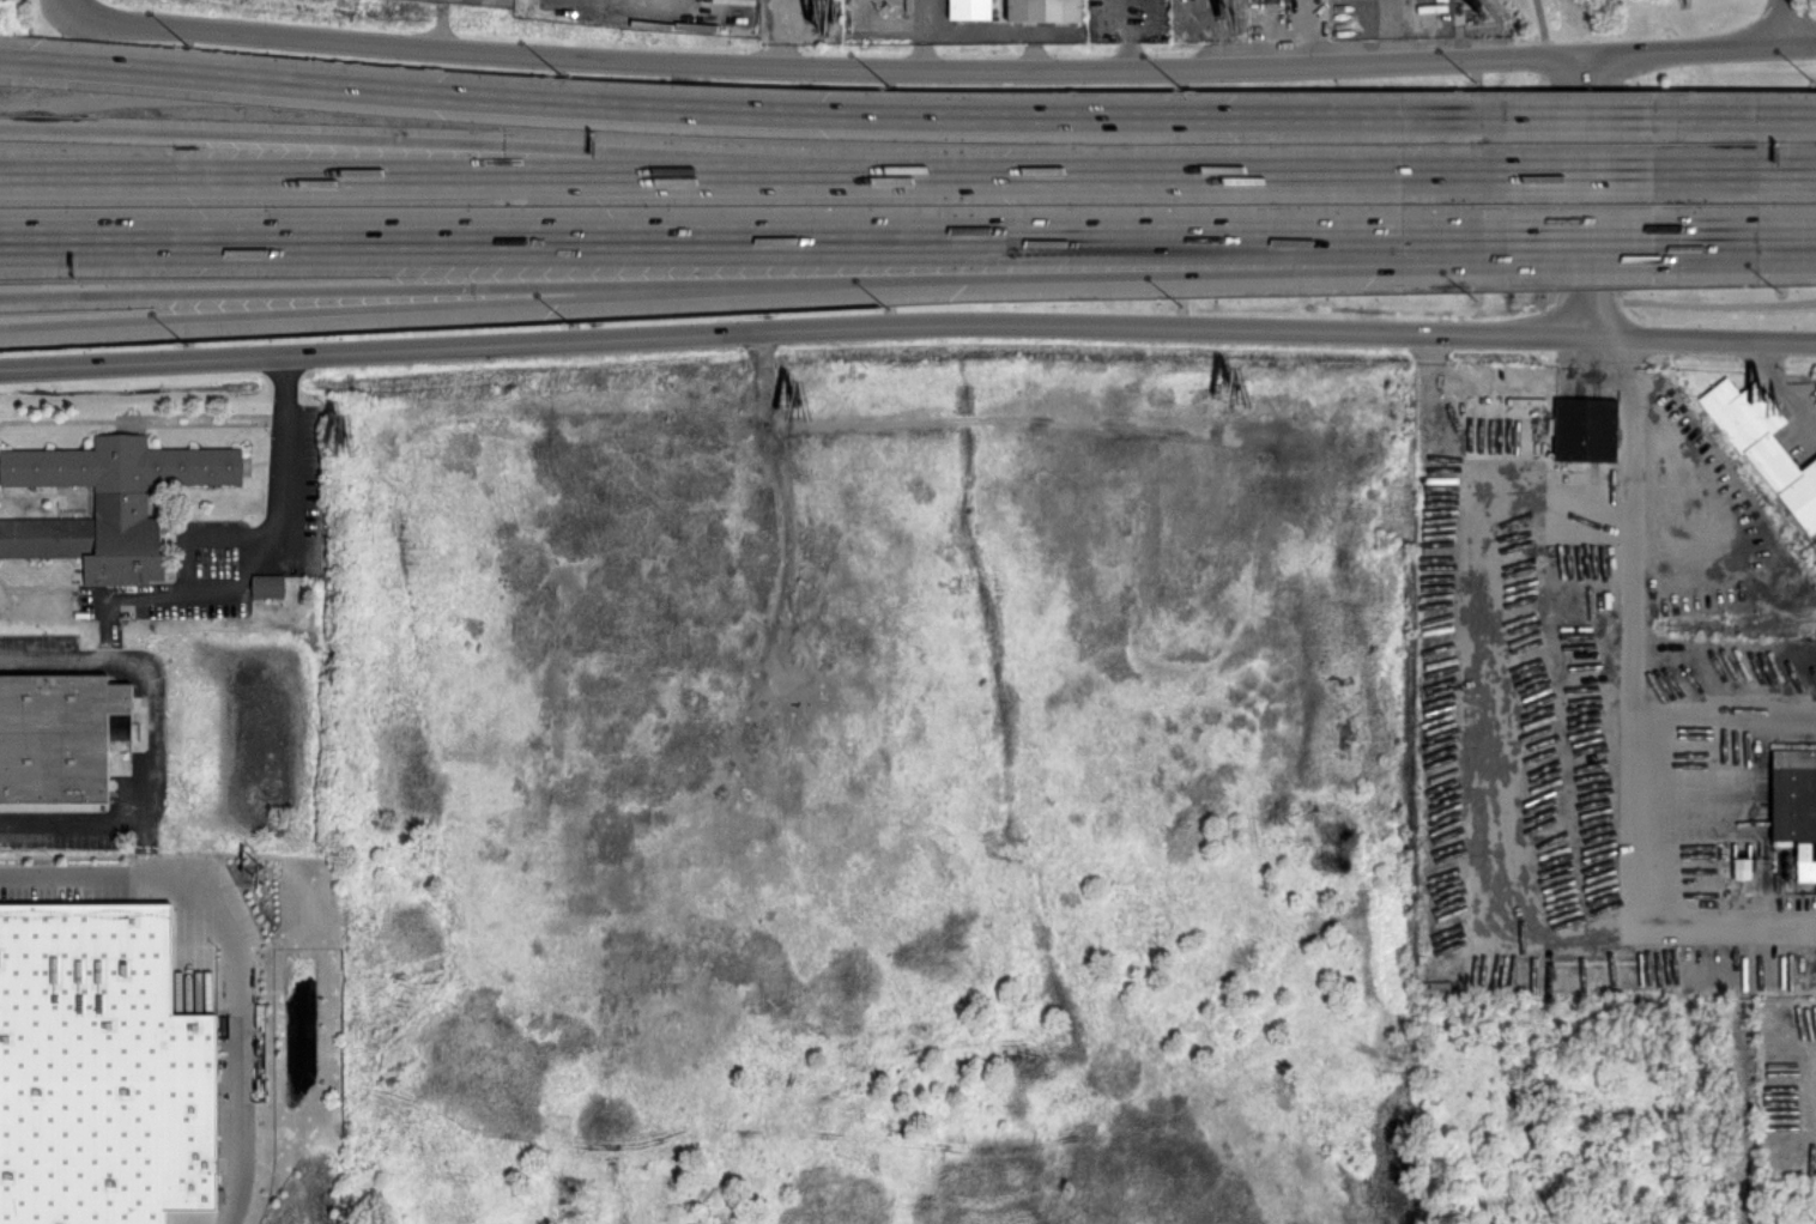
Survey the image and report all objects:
road: (61, 1)
building: (969, 8)
building: (1043, 10)
road: (1131, 22)
road: (1796, 22)
road: (440, 24)
road: (1542, 26)
road: (993, 30)
road: (919, 34)
road: (1697, 48)
road: (817, 68)
road: (739, 110)
road: (1618, 115)
road: (1786, 116)
road: (408, 139)
road: (1785, 171)
road: (1627, 172)
road: (1157, 174)
road: (407, 176)
road: (1584, 195)
road: (1785, 240)
road: (751, 241)
road: (1629, 241)
road: (1629, 254)
road: (1083, 271)
road: (332, 291)
road: (1681, 303)
road: (332, 307)
road: (794, 331)
road: (1702, 337)
road: (1627, 358)
road: (1781, 383)
building: (1585, 429)
building: (1766, 448)
building: (108, 502)
road: (1630, 546)
road: (238, 550)
building: (267, 584)
road: (146, 696)
road: (1725, 711)
building: (54, 731)
building: (1796, 805)
road: (69, 819)
building: (1741, 867)
road: (61, 875)
road: (224, 899)
road: (1638, 905)
road: (1427, 919)
building: (98, 1067)
road: (1806, 1092)
road: (232, 1120)

